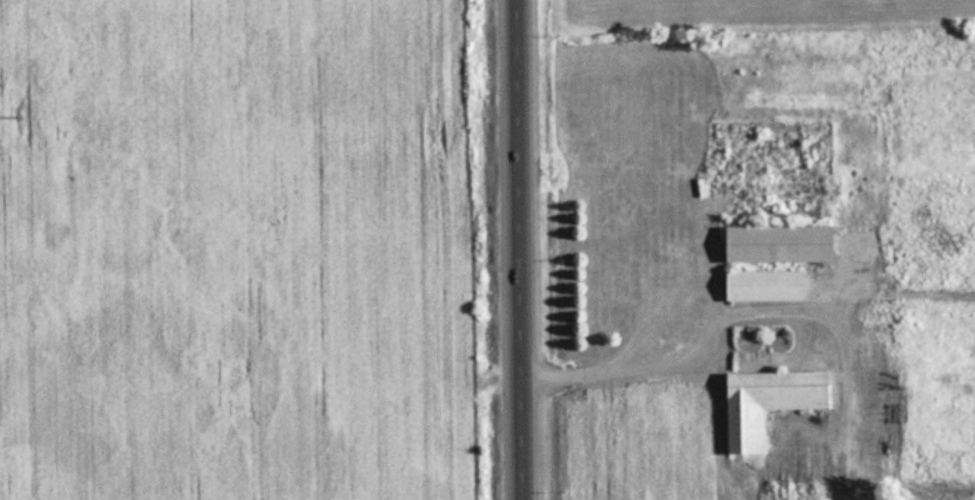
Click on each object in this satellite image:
power tower: (22, 118)
building: (785, 244)
road: (522, 249)
building: (769, 286)
building: (652, 295)
building: (774, 402)

